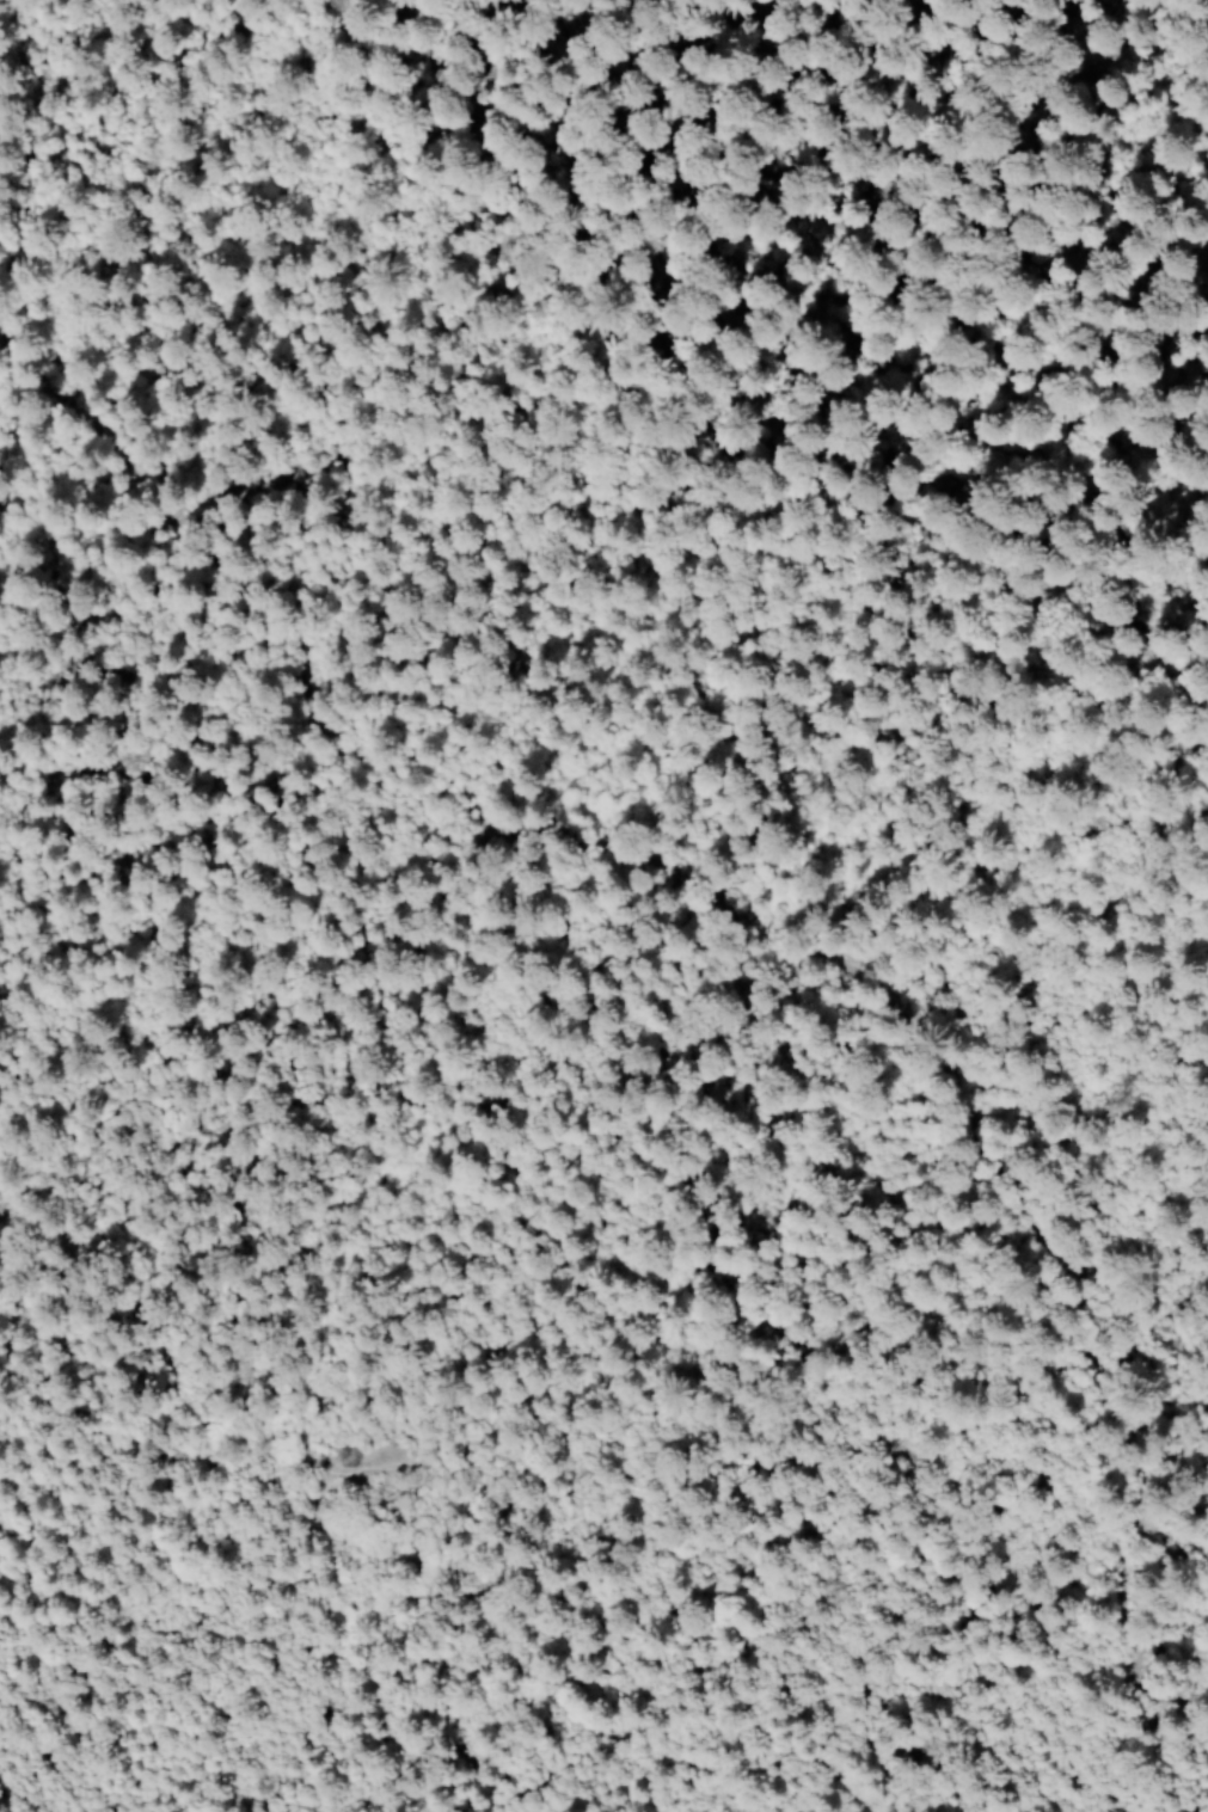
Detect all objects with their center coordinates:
road: (98, 124)
road: (816, 276)
road: (789, 940)

